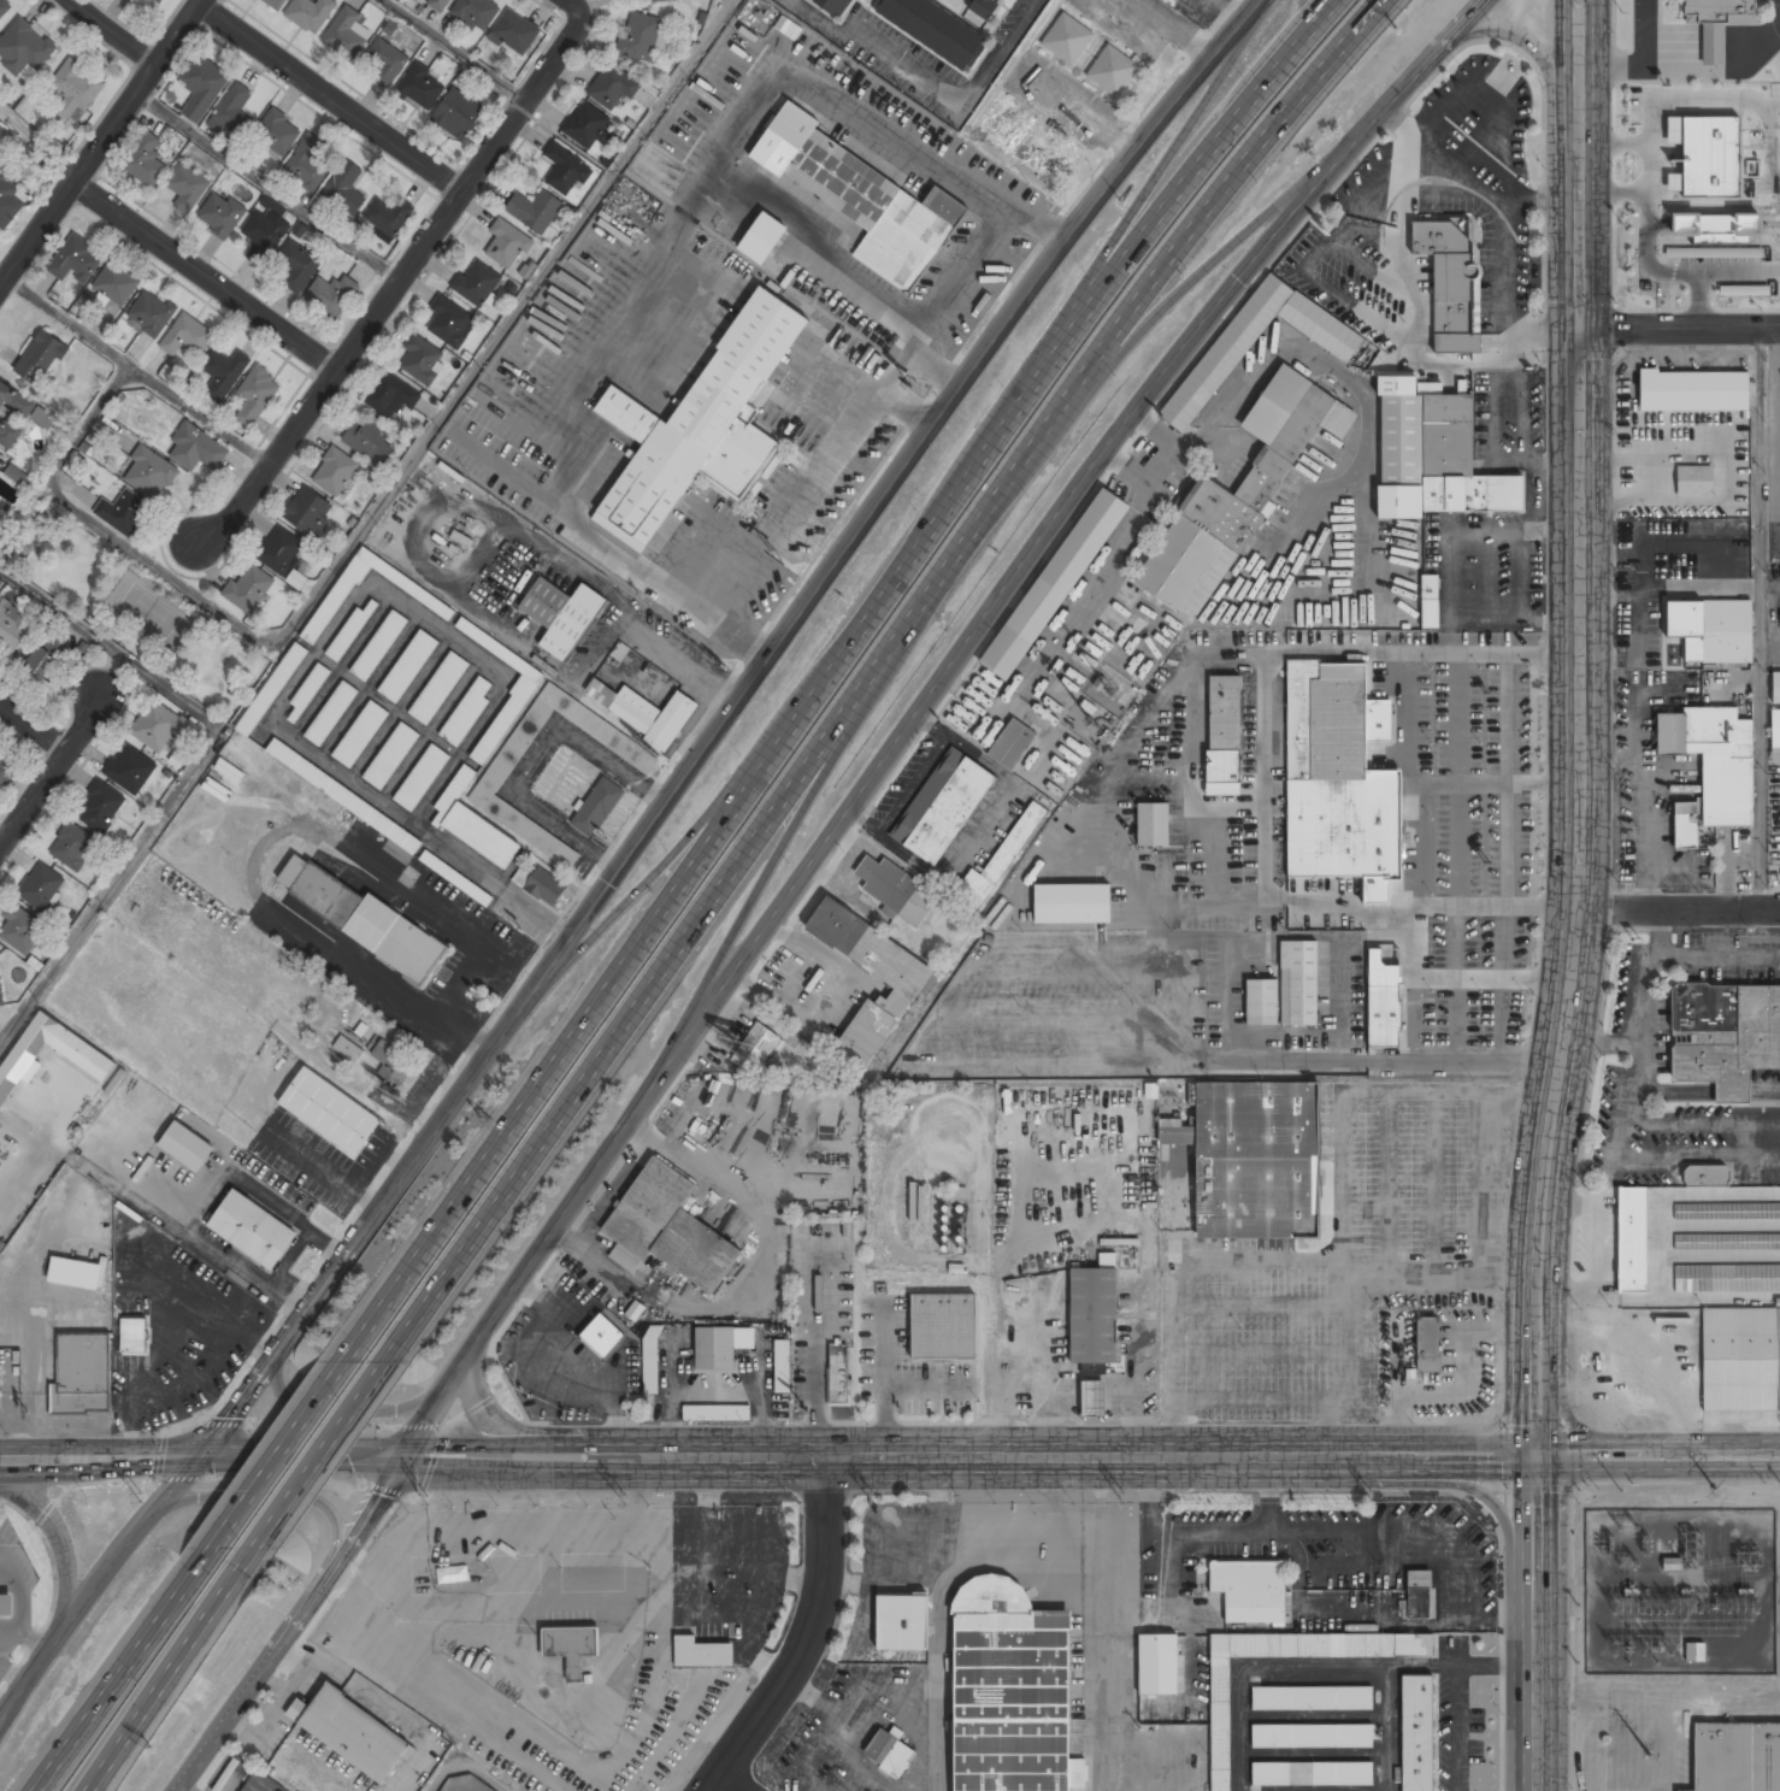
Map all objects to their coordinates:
building: (158, 1)
building: (276, 2)
building: (440, 4)
building: (836, 6)
building: (4, 7)
road: (571, 7)
building: (984, 7)
building: (477, 12)
building: (310, 13)
building: (1716, 22)
building: (933, 29)
road: (1172, 29)
building: (347, 33)
building: (514, 33)
road: (111, 34)
building: (639, 36)
building: (1067, 39)
road: (1531, 42)
building: (24, 45)
road: (455, 51)
building: (385, 61)
building: (1112, 70)
building: (613, 84)
building: (75, 87)
building: (202, 87)
building: (422, 87)
road: (930, 90)
road: (328, 98)
building: (234, 108)
building: (458, 113)
building: (1006, 125)
building: (584, 126)
building: (277, 131)
road: (39, 137)
road: (99, 141)
building: (1707, 154)
building: (1050, 157)
building: (145, 159)
building: (307, 163)
building: (565, 170)
road: (1167, 171)
building: (1674, 182)
building: (187, 185)
road: (267, 185)
building: (344, 189)
building: (862, 198)
building: (11, 199)
building: (534, 210)
building: (220, 213)
building: (387, 216)
building: (1721, 230)
building: (264, 231)
building: (761, 237)
building: (507, 243)
building: (76, 260)
building: (300, 264)
road: (202, 277)
building: (1450, 281)
building: (477, 282)
road: (1200, 282)
building: (117, 283)
road: (393, 287)
building: (332, 295)
building: (151, 313)
building: (449, 319)
traffic signals: (1579, 328)
road: (1679, 328)
building: (187, 336)
building: (43, 352)
building: (1225, 353)
building: (422, 359)
road: (137, 369)
building: (223, 373)
building: (1693, 390)
building: (391, 395)
building: (257, 396)
building: (13, 414)
building: (43, 418)
building: (700, 425)
building: (367, 437)
building: (196, 448)
building: (1434, 456)
building: (335, 470)
building: (151, 472)
building: (18, 476)
building: (1694, 481)
building: (1237, 496)
building: (0, 507)
building: (0, 509)
building: (123, 511)
building: (308, 511)
road: (367, 520)
road: (104, 526)
building: (279, 549)
building: (1054, 584)
building: (248, 587)
building: (412, 587)
building: (1430, 587)
building: (562, 615)
building: (12, 628)
building: (350, 630)
building: (1707, 631)
building: (378, 644)
road: (112, 648)
building: (46, 658)
building: (408, 666)
road: (832, 674)
building: (278, 679)
road: (874, 683)
building: (1775, 687)
building: (438, 688)
building: (307, 693)
building: (643, 711)
building: (466, 712)
building: (331, 713)
building: (507, 714)
road: (93, 726)
building: (155, 726)
road: (37, 729)
building: (1775, 729)
road: (1580, 730)
building: (360, 734)
building: (1224, 735)
building: (1013, 744)
building: (390, 755)
building: (1711, 762)
building: (130, 768)
building: (5, 771)
building: (422, 777)
building: (1339, 779)
building: (490, 785)
building: (343, 796)
building: (101, 806)
building: (597, 806)
building: (943, 806)
road: (36, 811)
building: (1153, 824)
building: (475, 826)
road: (8, 833)
building: (72, 846)
road: (631, 856)
building: (1000, 860)
road: (672, 864)
road: (778, 864)
road: (809, 874)
building: (543, 885)
building: (42, 886)
building: (896, 890)
building: (1072, 903)
road: (1678, 911)
building: (363, 919)
building: (20, 929)
building: (1299, 983)
building: (902, 990)
building: (1384, 997)
building: (1261, 1003)
building: (1723, 1035)
building: (758, 1045)
building: (348, 1049)
building: (393, 1062)
building: (96, 1065)
building: (329, 1112)
building: (185, 1145)
building: (1253, 1157)
building: (1707, 1176)
building: (1727, 1212)
building: (668, 1229)
building: (252, 1230)
building: (1632, 1239)
building: (1727, 1242)
building: (75, 1273)
building: (1727, 1278)
building: (1094, 1316)
building: (942, 1326)
building: (602, 1336)
building: (1428, 1344)
building: (719, 1347)
building: (159, 1357)
building: (1740, 1360)
building: (652, 1361)
building: (81, 1373)
building: (839, 1375)
building: (1092, 1397)
road: (350, 1403)
building: (715, 1412)
road: (1495, 1425)
road: (520, 1436)
road: (1658, 1457)
traffic signals: (1537, 1459)
road: (272, 1461)
traffic signals: (195, 1462)
traffic signals: (405, 1466)
road: (767, 1466)
road: (307, 1485)
power tower: (1629, 1486)
power tower: (1715, 1486)
road: (289, 1487)
road: (1473, 1487)
power tower: (1369, 1492)
power tower: (140, 1495)
power tower: (1124, 1495)
power tower: (874, 1496)
power tower: (626, 1497)
power tower: (428, 1500)
road: (54, 1534)
building: (1672, 1563)
building: (1250, 1590)
power substation: (1680, 1591)
building: (1419, 1593)
building: (6, 1603)
power tower: (1716, 1608)
building: (902, 1624)
road: (1537, 1625)
road: (812, 1642)
building: (571, 1649)
building: (1696, 1650)
building: (701, 1652)
building: (1157, 1663)
road: (120, 1678)
road: (161, 1689)
building: (1010, 1691)
building: (1312, 1699)
road: (5, 1712)
building: (1220, 1724)
building: (352, 1732)
building: (1417, 1733)
building: (1313, 1737)
parking lot: (1625, 1739)
power tower: (1650, 1742)
building: (889, 1752)
building: (1735, 1757)
building: (1312, 1775)
road: (742, 1780)
building: (258, 1785)

